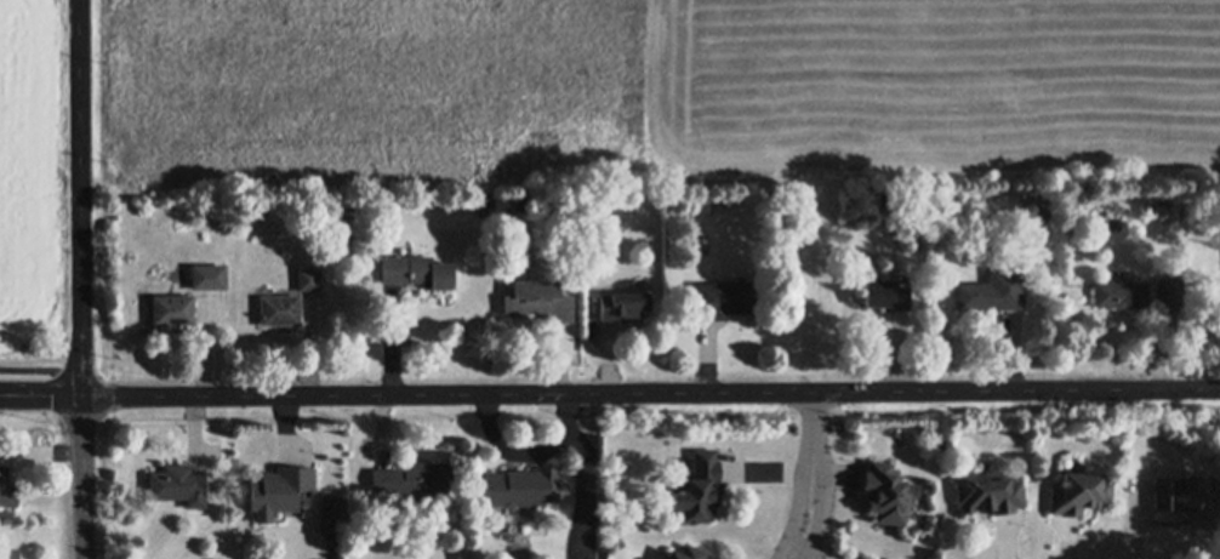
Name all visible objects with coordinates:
road: (89, 80)
crop: (657, 89)
crop: (35, 187)
building: (1026, 195)
building: (1041, 196)
building: (884, 199)
building: (380, 203)
building: (593, 203)
building: (521, 204)
building: (706, 204)
building: (930, 204)
building: (483, 205)
building: (1165, 212)
building: (397, 219)
building: (266, 235)
building: (542, 250)
building: (403, 251)
building: (1000, 266)
building: (598, 268)
building: (417, 273)
building: (207, 278)
building: (308, 280)
building: (1171, 291)
building: (267, 292)
building: (994, 292)
building: (1121, 295)
building: (888, 297)
building: (541, 301)
building: (723, 301)
building: (623, 309)
building: (280, 310)
building: (172, 312)
road: (85, 359)
road: (42, 369)
road: (651, 393)
road: (42, 397)
building: (897, 437)
building: (1087, 439)
road: (529, 454)
building: (1073, 466)
road: (816, 477)
building: (414, 478)
building: (178, 485)
building: (521, 489)
building: (697, 490)
building: (7, 491)
building: (278, 491)
building: (889, 495)
building: (990, 495)
building: (1081, 495)
building: (415, 497)
building: (1187, 500)
building: (337, 508)
building: (916, 515)
building: (405, 523)
building: (502, 530)
park: (1205, 553)
building: (8, 554)
building: (689, 554)

